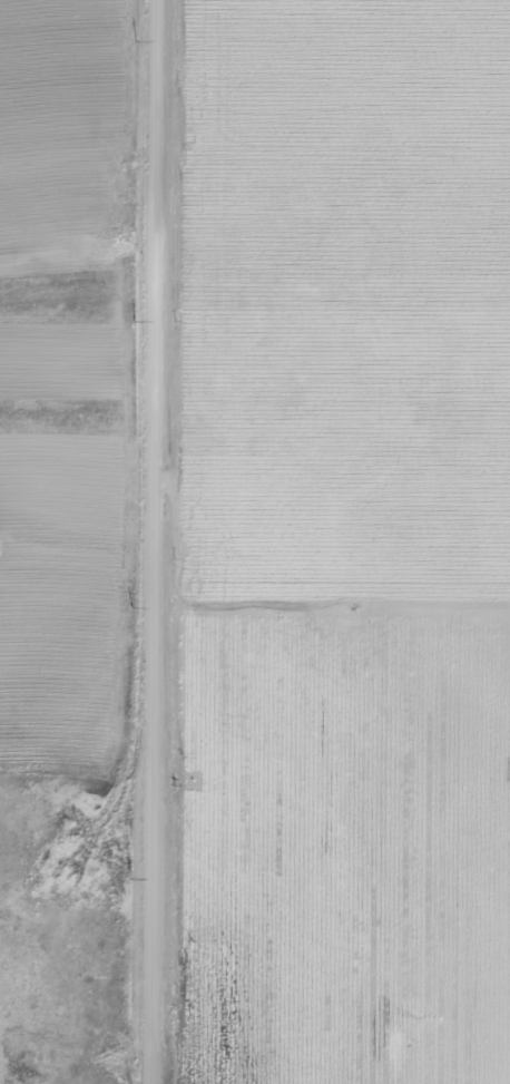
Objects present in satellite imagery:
road: (148, 541)

